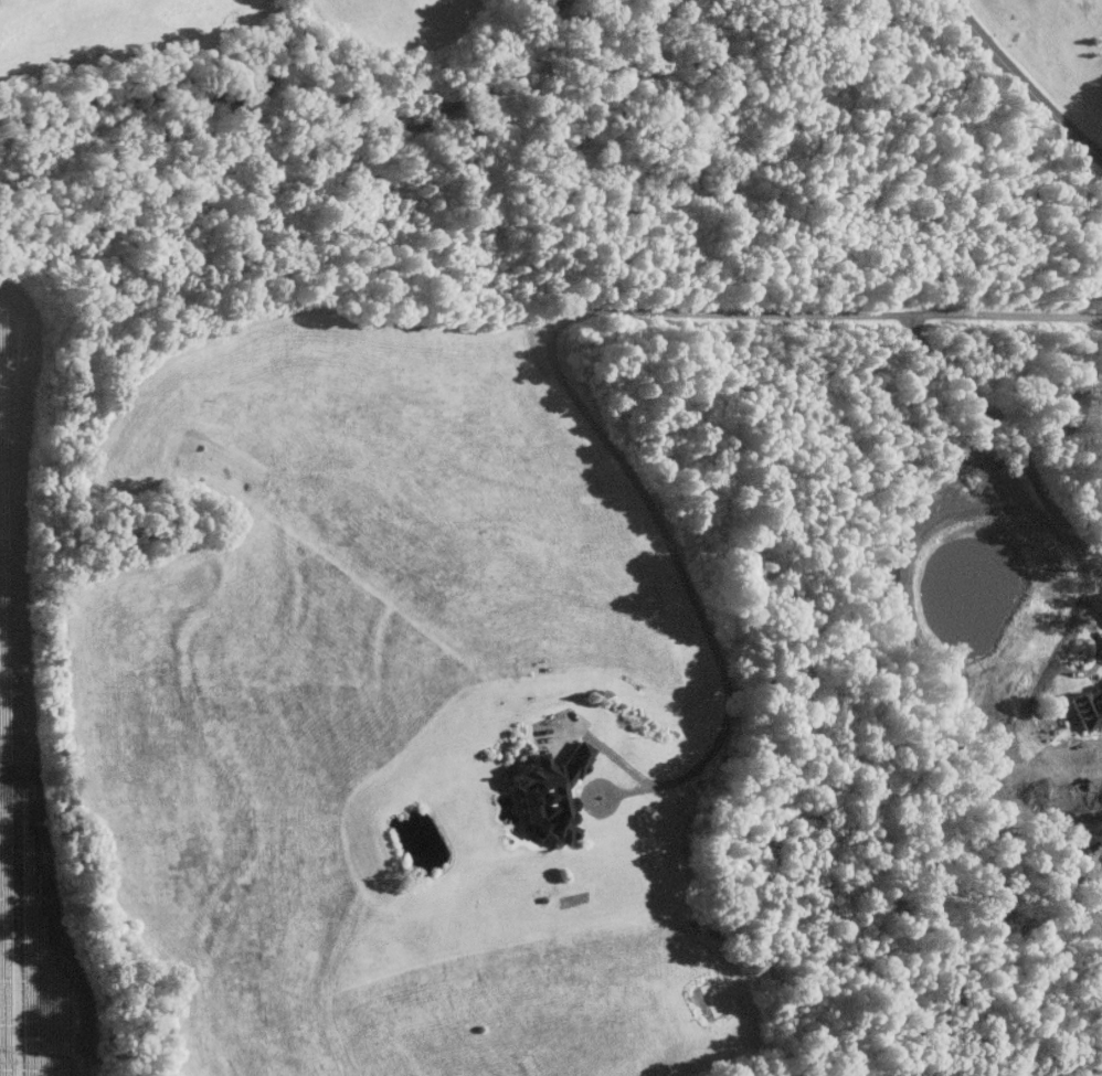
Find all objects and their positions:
road: (1021, 82)
road: (570, 313)
road: (1027, 468)
building: (1088, 705)
building: (552, 787)
road: (640, 787)

